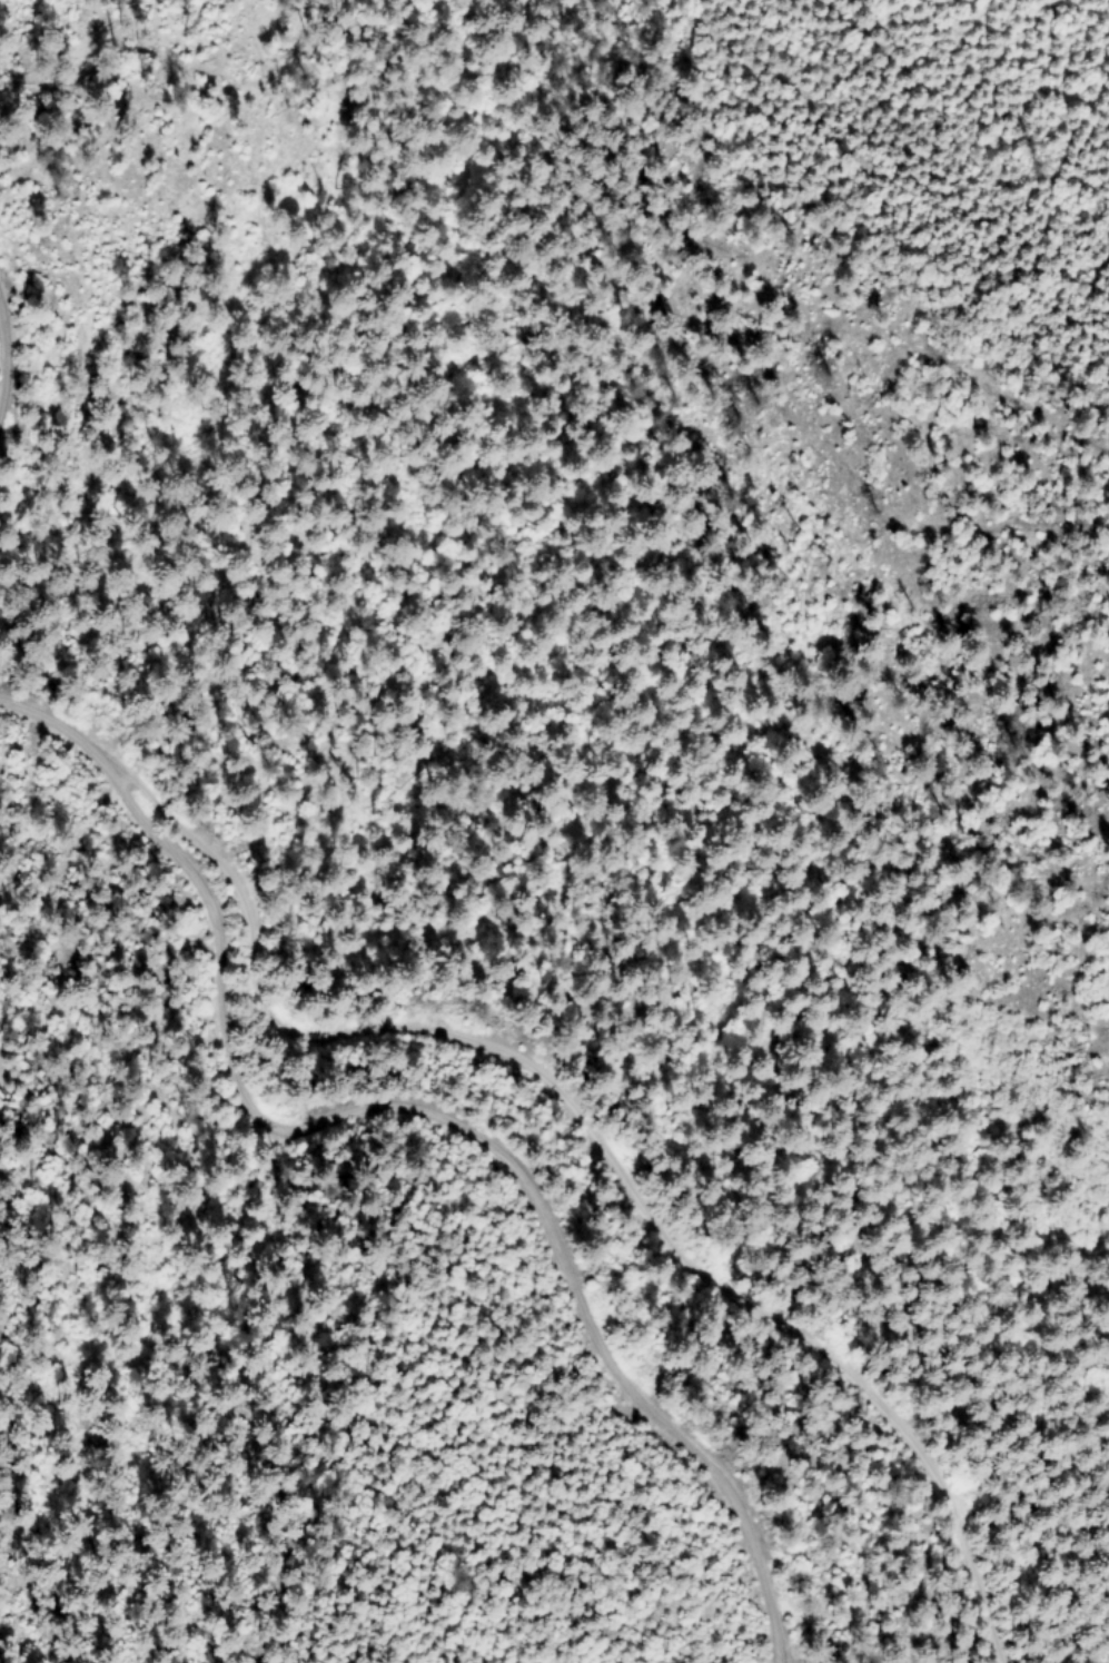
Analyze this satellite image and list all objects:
road: (2, 380)
road: (414, 1113)

